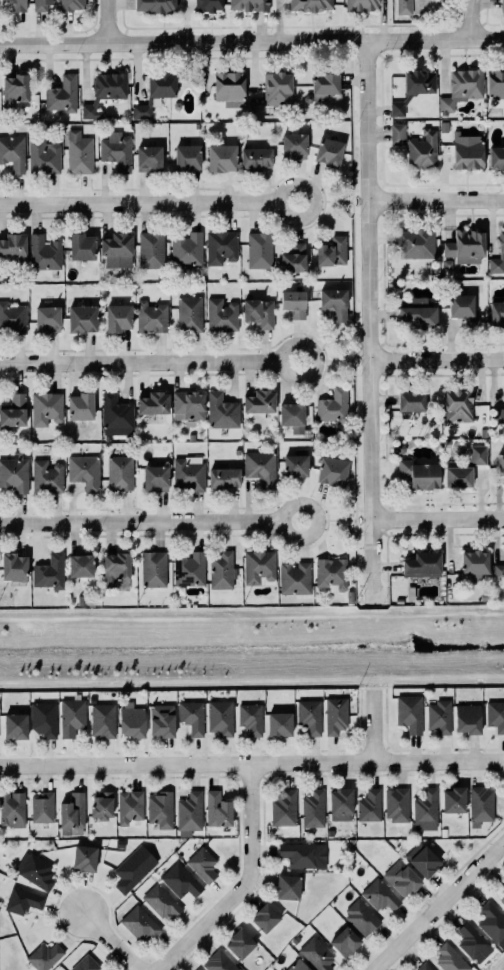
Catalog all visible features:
building: (71, 4)
building: (502, 4)
building: (18, 5)
building: (40, 5)
building: (209, 5)
building: (249, 5)
building: (310, 5)
building: (360, 5)
building: (155, 6)
building: (404, 7)
road: (470, 20)
road: (106, 21)
road: (252, 43)
building: (419, 80)
building: (495, 82)
building: (322, 86)
building: (462, 86)
building: (14, 89)
building: (230, 89)
building: (277, 89)
building: (105, 92)
building: (155, 93)
building: (62, 95)
building: (398, 108)
building: (444, 126)
building: (294, 146)
building: (416, 146)
building: (116, 151)
building: (329, 152)
building: (13, 153)
building: (78, 153)
building: (468, 154)
building: (496, 157)
building: (43, 158)
building: (149, 158)
building: (187, 158)
building: (222, 158)
building: (255, 159)
road: (434, 201)
road: (331, 202)
road: (148, 204)
building: (501, 241)
building: (416, 243)
building: (13, 245)
building: (82, 246)
building: (220, 246)
building: (466, 246)
building: (150, 249)
building: (186, 249)
building: (117, 250)
building: (259, 250)
building: (332, 251)
building: (43, 253)
building: (293, 257)
building: (447, 263)
building: (158, 287)
building: (294, 302)
building: (334, 302)
building: (462, 305)
building: (258, 312)
building: (419, 312)
building: (497, 313)
building: (189, 314)
building: (221, 315)
building: (117, 317)
building: (151, 317)
building: (12, 318)
building: (81, 318)
building: (47, 319)
road: (366, 324)
road: (435, 360)
road: (333, 361)
road: (149, 363)
building: (411, 400)
building: (259, 402)
building: (153, 403)
building: (188, 404)
building: (458, 405)
building: (80, 406)
building: (333, 406)
building: (46, 408)
building: (13, 411)
building: (221, 411)
building: (116, 415)
building: (498, 415)
building: (292, 416)
building: (237, 452)
building: (500, 464)
building: (295, 465)
building: (259, 467)
building: (464, 468)
building: (83, 471)
building: (333, 471)
building: (119, 472)
building: (14, 473)
building: (419, 473)
building: (188, 475)
building: (46, 477)
building: (155, 477)
building: (224, 478)
road: (436, 519)
road: (334, 520)
road: (150, 522)
building: (475, 562)
building: (422, 564)
building: (80, 565)
building: (258, 566)
building: (14, 567)
building: (116, 568)
building: (153, 569)
building: (189, 569)
building: (221, 570)
building: (49, 571)
building: (331, 572)
building: (498, 572)
building: (295, 578)
road: (387, 588)
building: (410, 593)
building: (485, 596)
building: (350, 597)
building: (398, 600)
road: (359, 606)
road: (391, 612)
road: (451, 613)
road: (383, 616)
road: (291, 617)
road: (42, 620)
road: (149, 620)
park: (250, 647)
road: (449, 675)
road: (378, 676)
road: (275, 678)
road: (94, 679)
building: (409, 713)
building: (335, 715)
building: (192, 716)
building: (309, 716)
building: (439, 716)
building: (495, 716)
building: (72, 717)
building: (220, 717)
building: (44, 718)
building: (250, 718)
building: (467, 719)
building: (102, 720)
building: (131, 720)
building: (162, 720)
building: (279, 724)
building: (15, 726)
road: (373, 727)
road: (251, 763)
building: (453, 799)
building: (481, 803)
building: (340, 804)
building: (397, 804)
building: (102, 805)
building: (369, 805)
building: (129, 806)
building: (42, 807)
building: (283, 808)
building: (313, 808)
building: (12, 809)
building: (160, 809)
building: (217, 809)
building: (71, 810)
building: (425, 810)
building: (190, 812)
building: (21, 832)
building: (443, 832)
building: (330, 833)
building: (155, 842)
building: (299, 854)
building: (84, 857)
building: (422, 859)
building: (202, 864)
building: (35, 870)
building: (130, 871)
building: (401, 877)
building: (180, 880)
road: (242, 884)
building: (288, 886)
building: (502, 889)
building: (380, 894)
building: (22, 900)
building: (161, 901)
building: (502, 901)
road: (438, 906)
building: (265, 917)
building: (361, 917)
building: (491, 922)
building: (140, 923)
road: (107, 941)
building: (344, 941)
building: (473, 942)
building: (240, 943)
building: (316, 954)
building: (44, 956)
building: (450, 959)
building: (218, 962)
building: (85, 964)
building: (297, 965)
building: (424, 967)
building: (196, 969)

